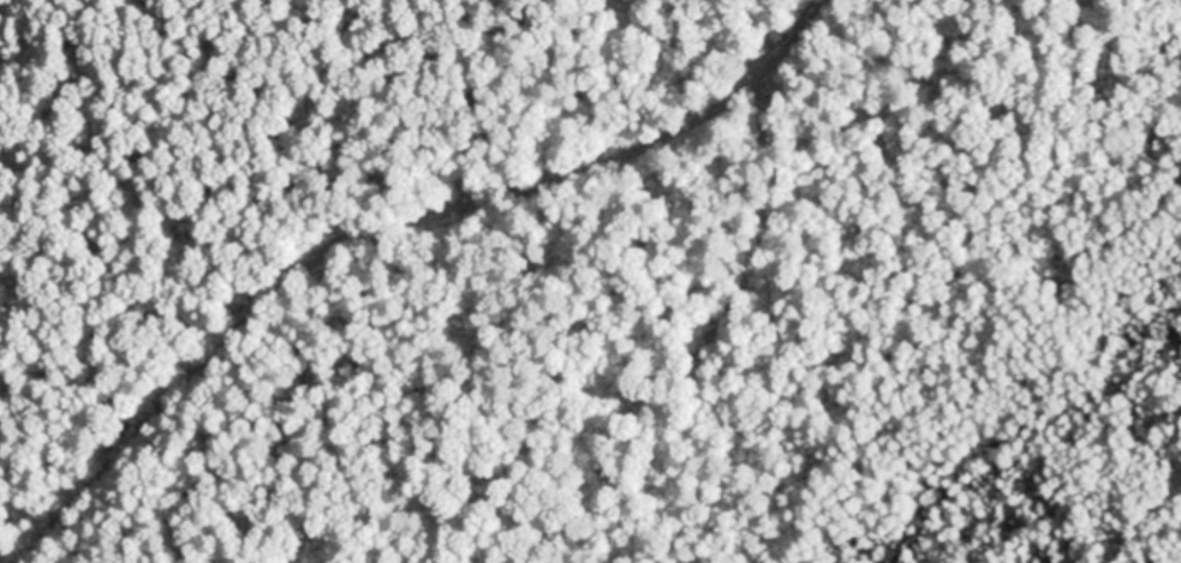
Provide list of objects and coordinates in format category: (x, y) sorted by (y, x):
road: (374, 212)

